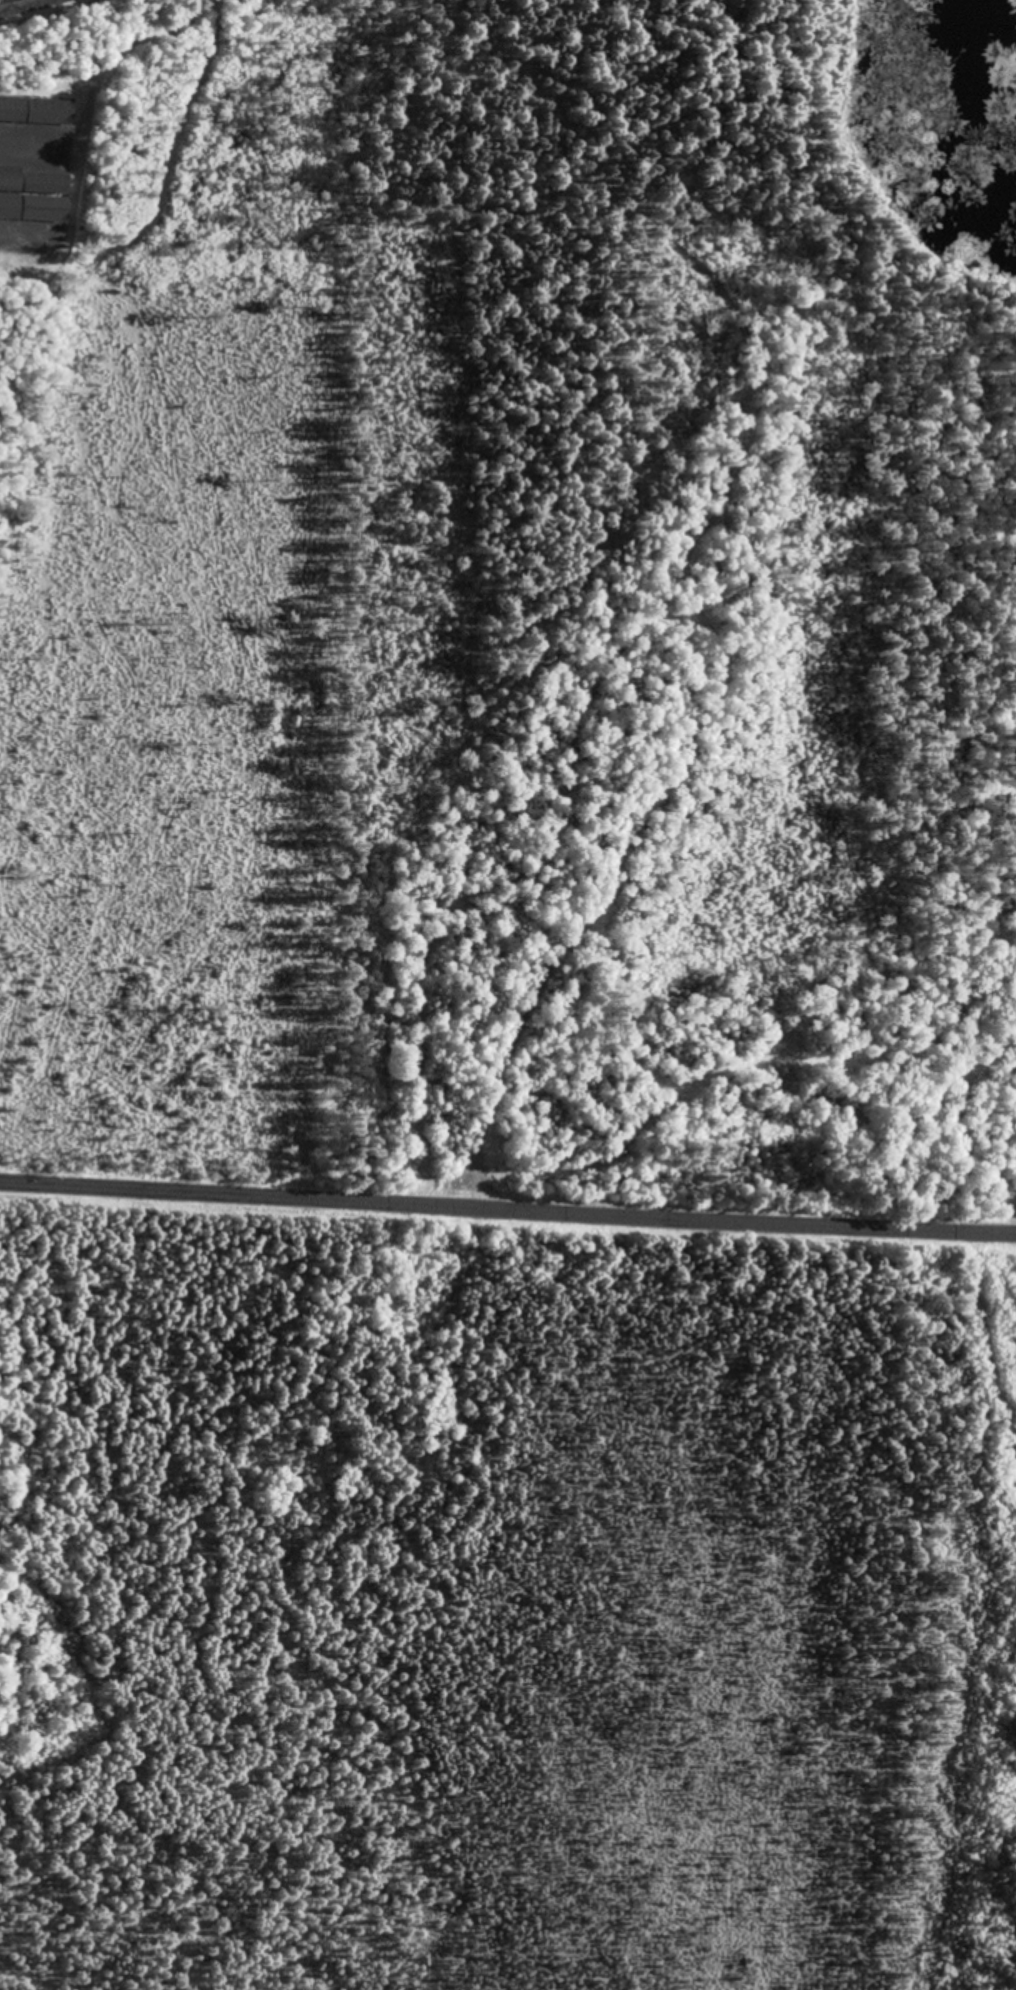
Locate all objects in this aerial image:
road: (27, 5)
building: (36, 113)
building: (33, 184)
building: (9, 209)
road: (507, 1211)

